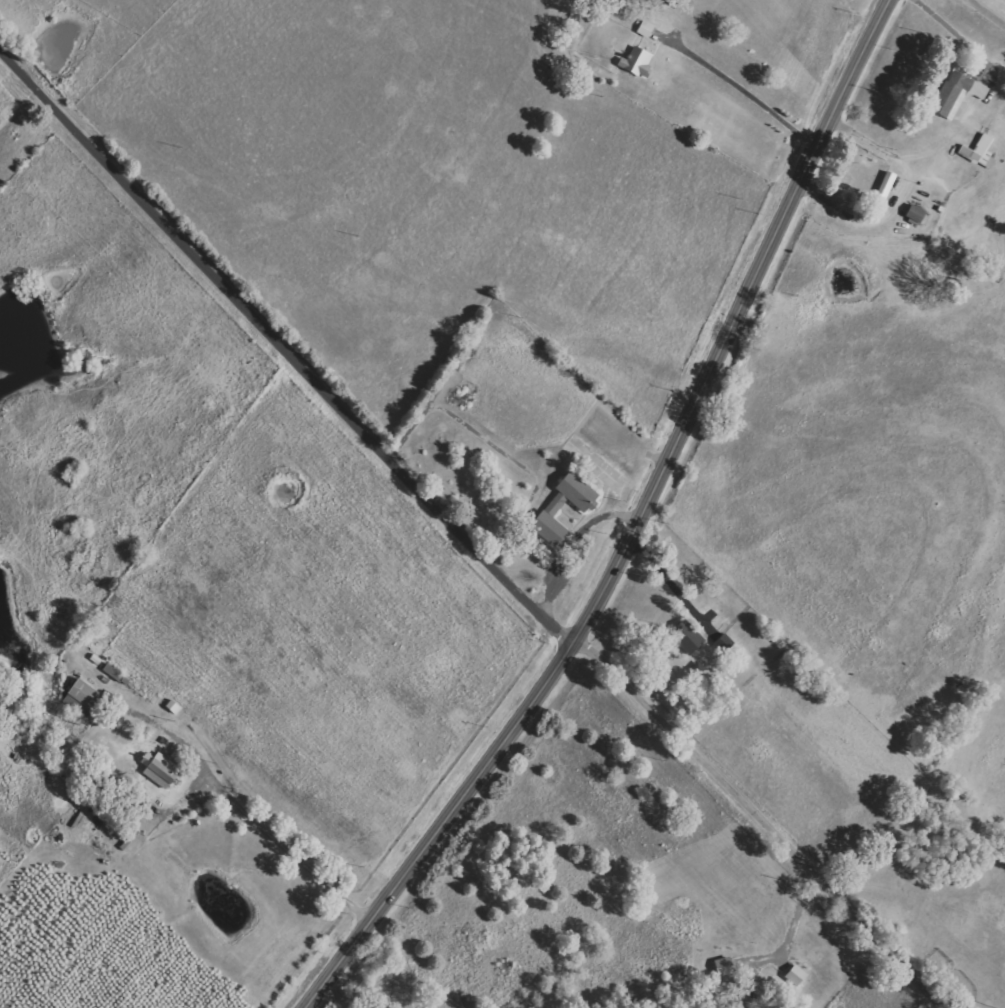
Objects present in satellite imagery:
building: (646, 29)
building: (637, 63)
road: (744, 90)
building: (957, 94)
building: (980, 152)
building: (883, 192)
building: (916, 214)
road: (284, 347)
park: (467, 465)
building: (554, 507)
road: (636, 525)
building: (688, 637)
building: (82, 698)
building: (160, 769)
road: (249, 813)
road: (761, 820)
road: (782, 942)

